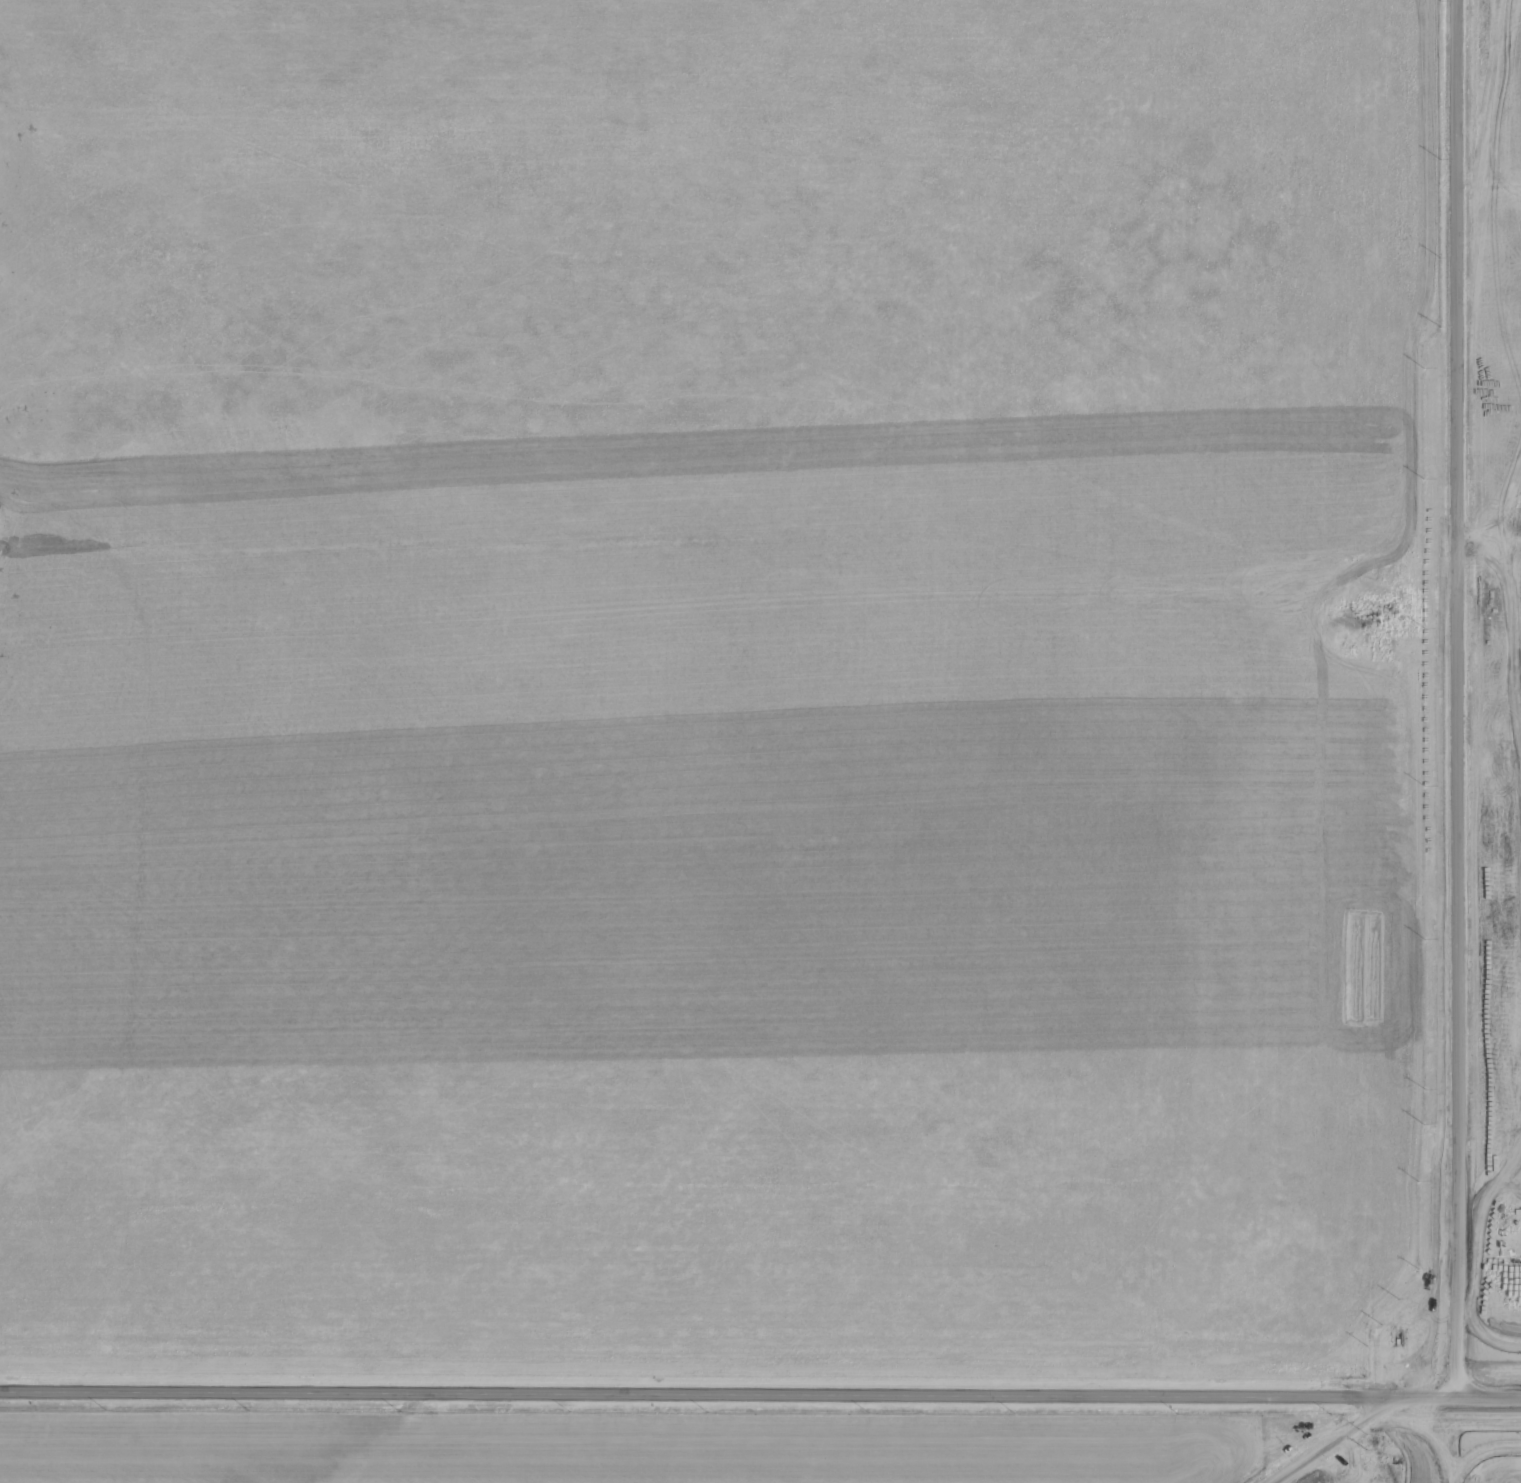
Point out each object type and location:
road: (1459, 697)
road: (760, 1394)
road: (1338, 1439)
road: (1453, 1439)

